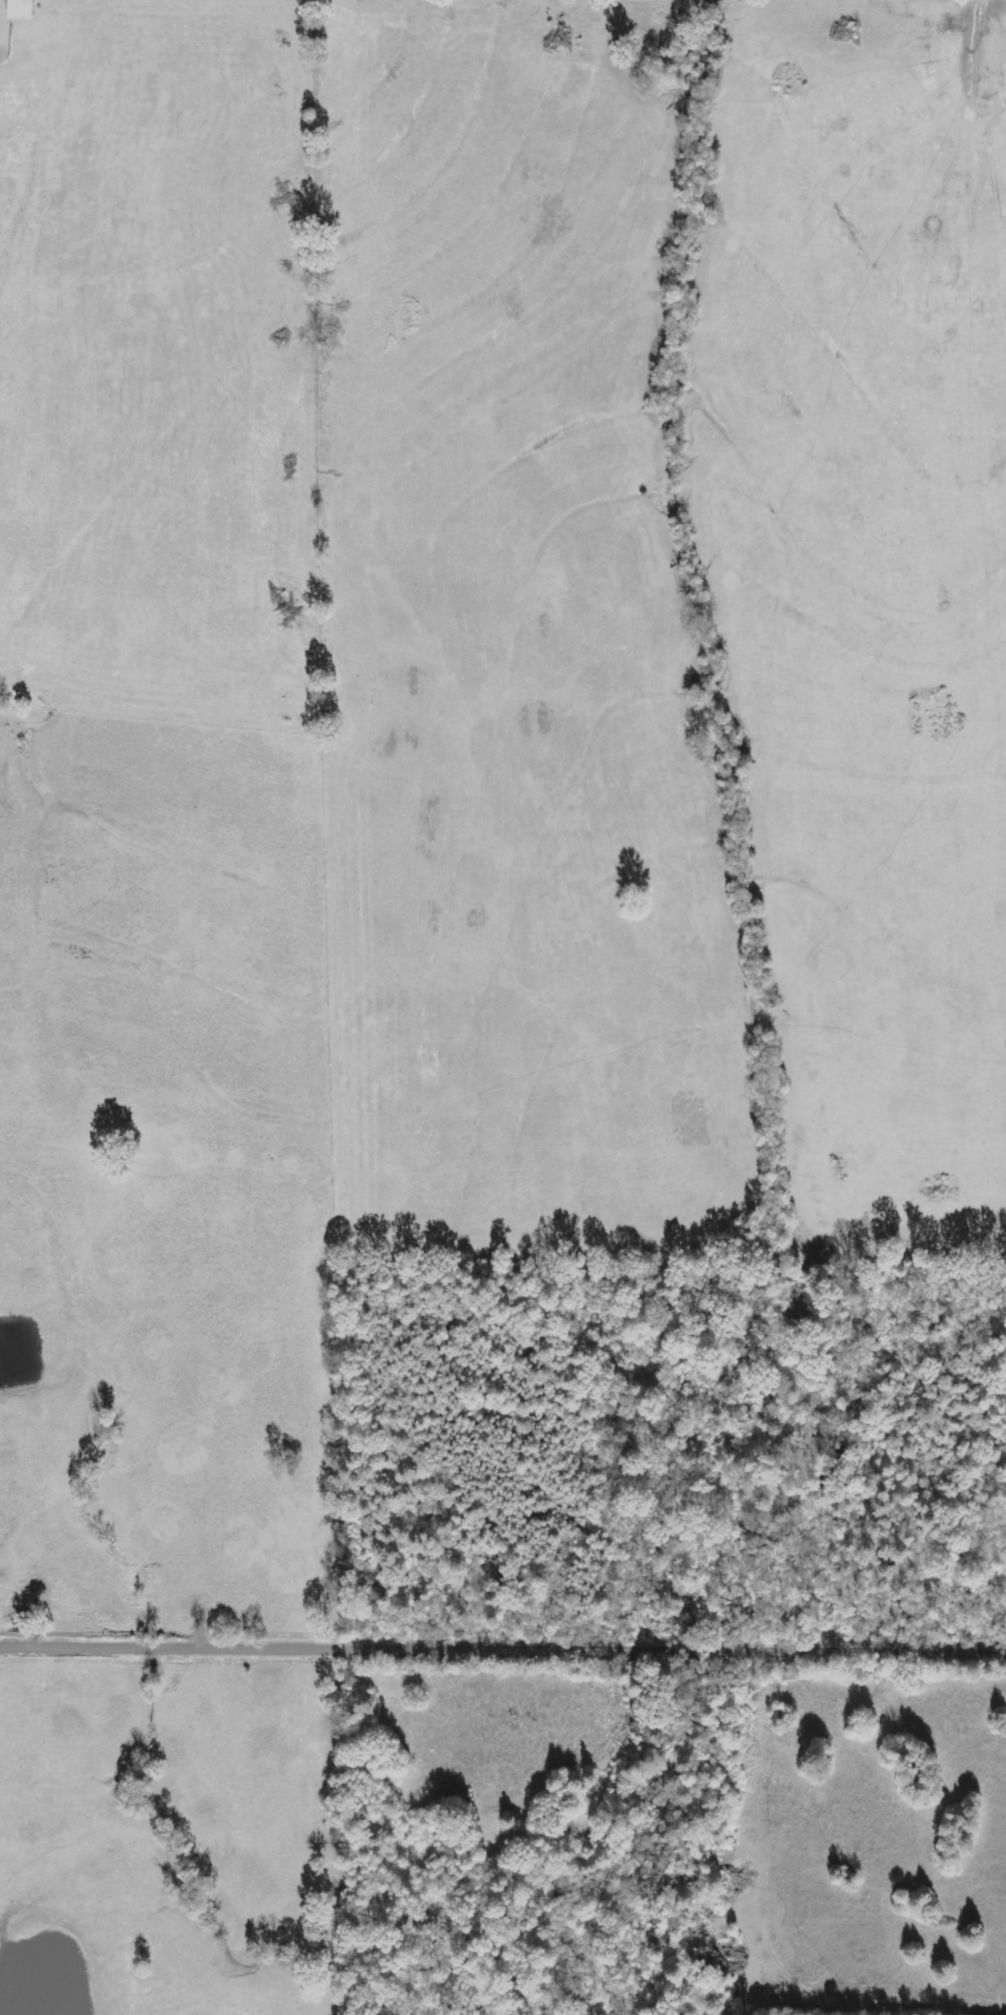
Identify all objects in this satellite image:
building: (19, 9)
road: (503, 1653)

